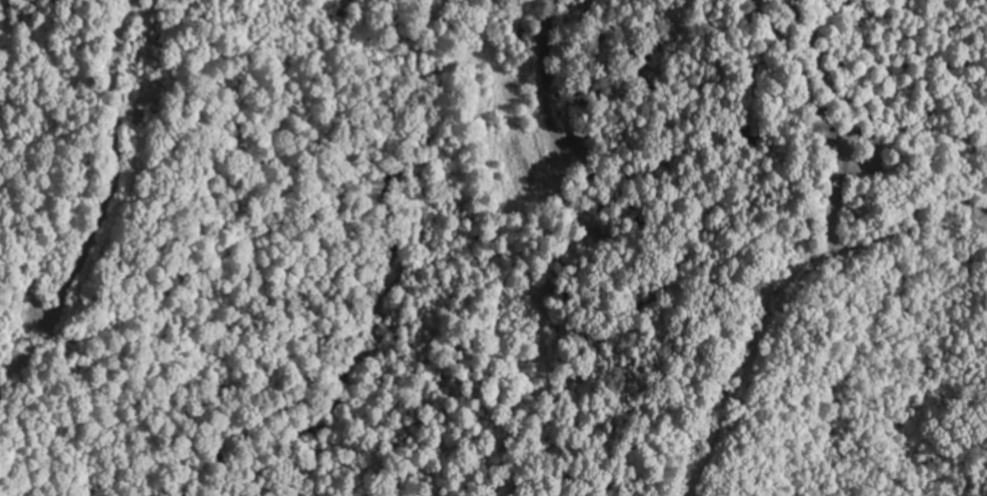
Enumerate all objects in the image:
building: (515, 30)
road: (550, 82)
road: (829, 120)
building: (510, 147)
road: (118, 162)

